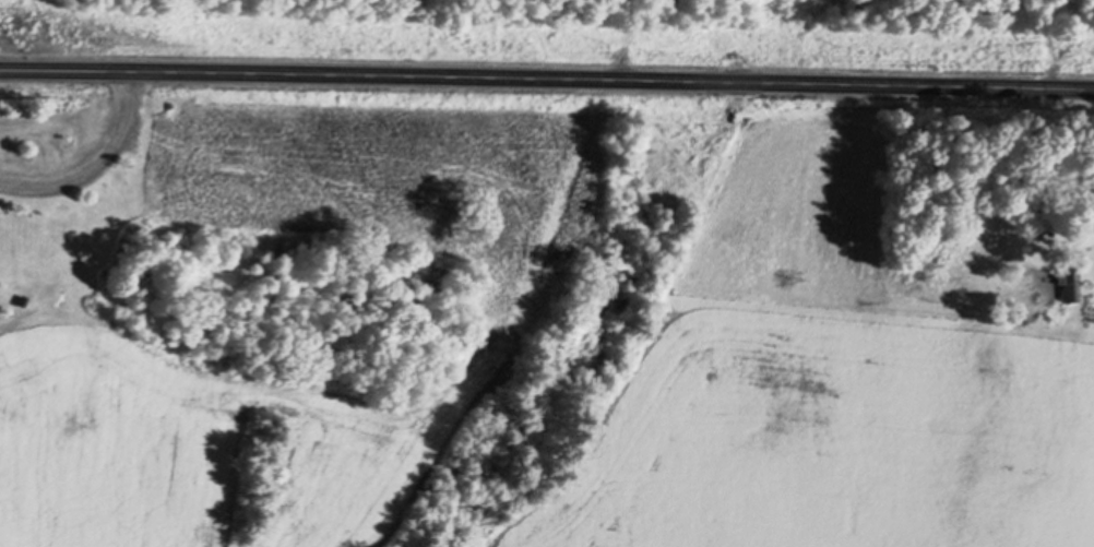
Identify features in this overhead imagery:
road: (547, 96)
building: (1090, 219)

